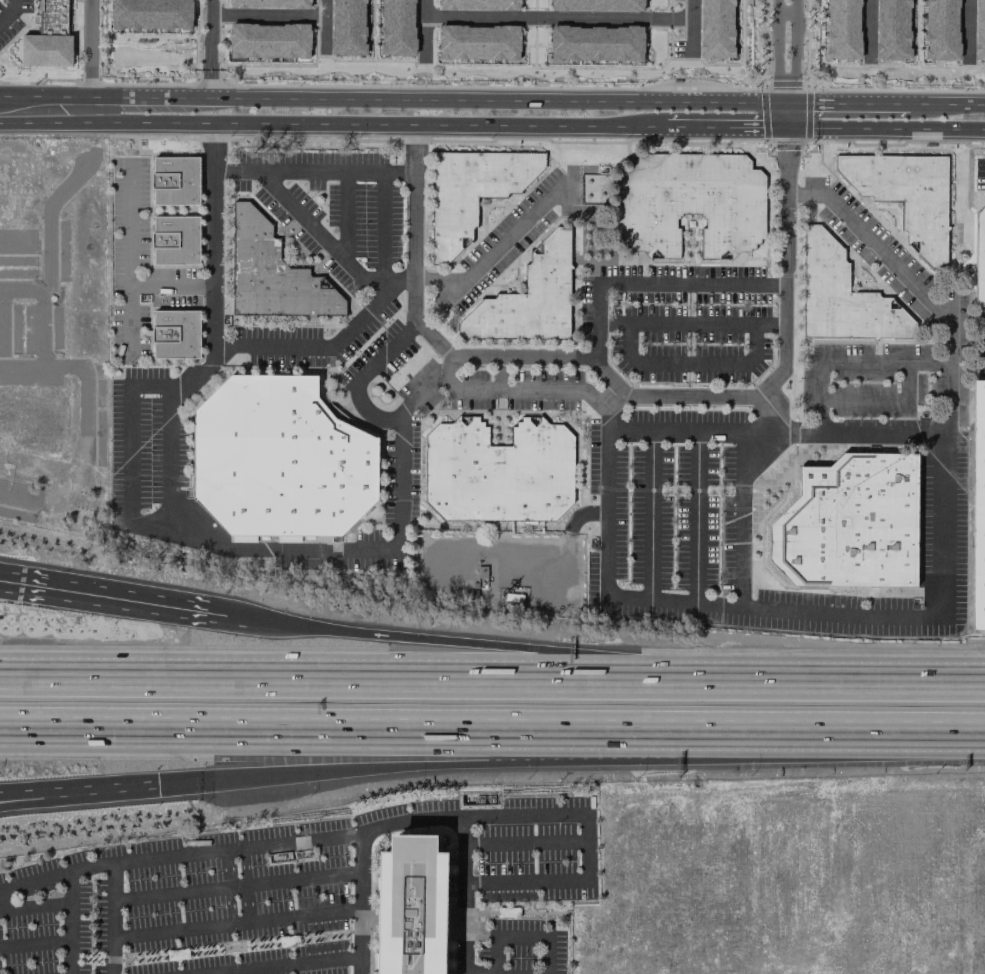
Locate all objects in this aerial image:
building: (270, 4)
building: (479, 5)
building: (596, 5)
road: (10, 13)
road: (786, 13)
building: (150, 14)
road: (274, 14)
road: (558, 18)
road: (692, 26)
building: (347, 27)
building: (397, 27)
road: (868, 27)
road: (967, 27)
road: (425, 28)
building: (716, 28)
building: (843, 29)
building: (892, 29)
building: (941, 30)
building: (979, 30)
road: (209, 34)
building: (48, 38)
building: (269, 40)
building: (478, 42)
building: (596, 43)
road: (87, 49)
road: (777, 64)
road: (795, 64)
road: (208, 84)
road: (397, 101)
road: (852, 103)
road: (947, 103)
road: (333, 123)
road: (726, 126)
road: (886, 127)
road: (396, 174)
building: (175, 180)
building: (471, 191)
building: (906, 195)
building: (690, 202)
road: (342, 215)
road: (381, 215)
road: (214, 235)
building: (176, 239)
road: (487, 254)
building: (980, 257)
road: (128, 266)
building: (273, 273)
road: (652, 283)
building: (843, 297)
building: (528, 298)
road: (413, 299)
road: (127, 321)
road: (690, 324)
building: (175, 334)
road: (785, 356)
road: (691, 357)
road: (497, 358)
road: (845, 359)
road: (532, 390)
road: (426, 391)
road: (614, 397)
road: (884, 402)
road: (771, 406)
road: (843, 433)
building: (278, 459)
road: (945, 460)
building: (498, 471)
building: (978, 507)
road: (650, 513)
road: (696, 515)
building: (850, 523)
road: (168, 528)
building: (243, 539)
road: (338, 555)
road: (100, 594)
road: (741, 603)
road: (408, 637)
road: (306, 682)
road: (798, 685)
road: (492, 729)
road: (483, 764)
road: (43, 790)
road: (43, 797)
road: (356, 834)
road: (525, 842)
road: (587, 848)
road: (361, 871)
road: (303, 879)
road: (35, 880)
road: (230, 888)
road: (172, 894)
parking lot: (284, 894)
road: (464, 895)
road: (485, 895)
road: (115, 896)
road: (528, 896)
road: (35, 903)
building: (412, 907)
road: (477, 909)
road: (267, 920)
road: (71, 922)
road: (369, 925)
road: (524, 935)
road: (360, 941)
road: (35, 943)
road: (219, 947)
road: (495, 954)
road: (300, 963)
road: (212, 972)

